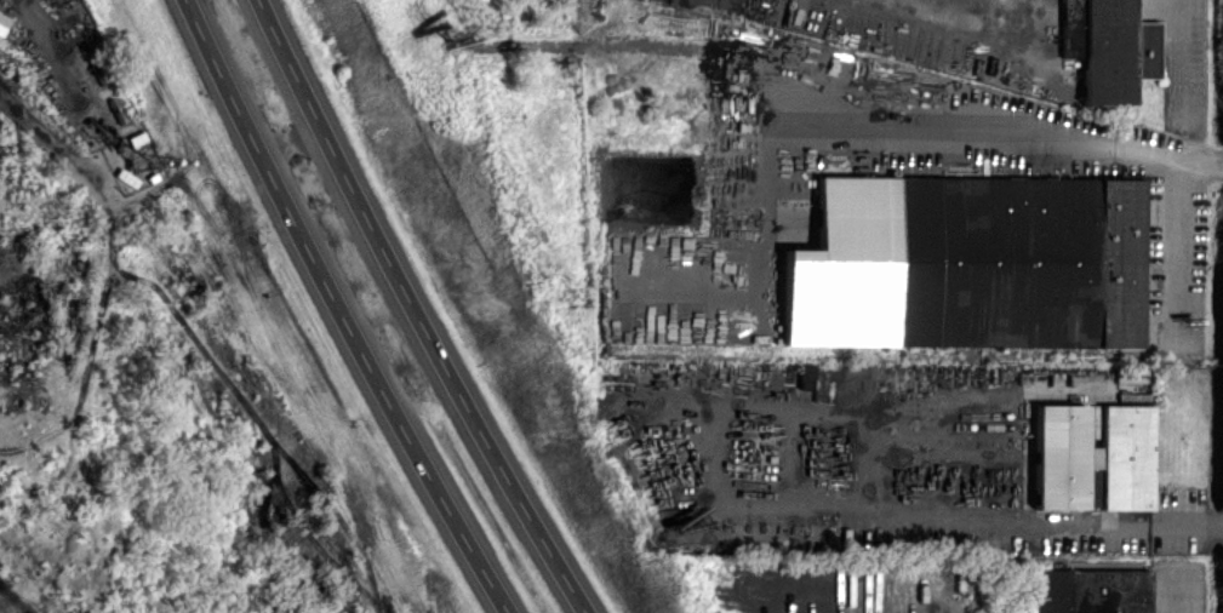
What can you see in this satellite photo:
building: (4, 23)
building: (1108, 47)
road: (1183, 57)
road: (39, 130)
road: (1010, 131)
building: (968, 263)
road: (338, 310)
road: (415, 310)
road: (720, 413)
building: (1092, 457)
road: (1047, 522)
building: (1091, 591)
road: (1173, 595)

